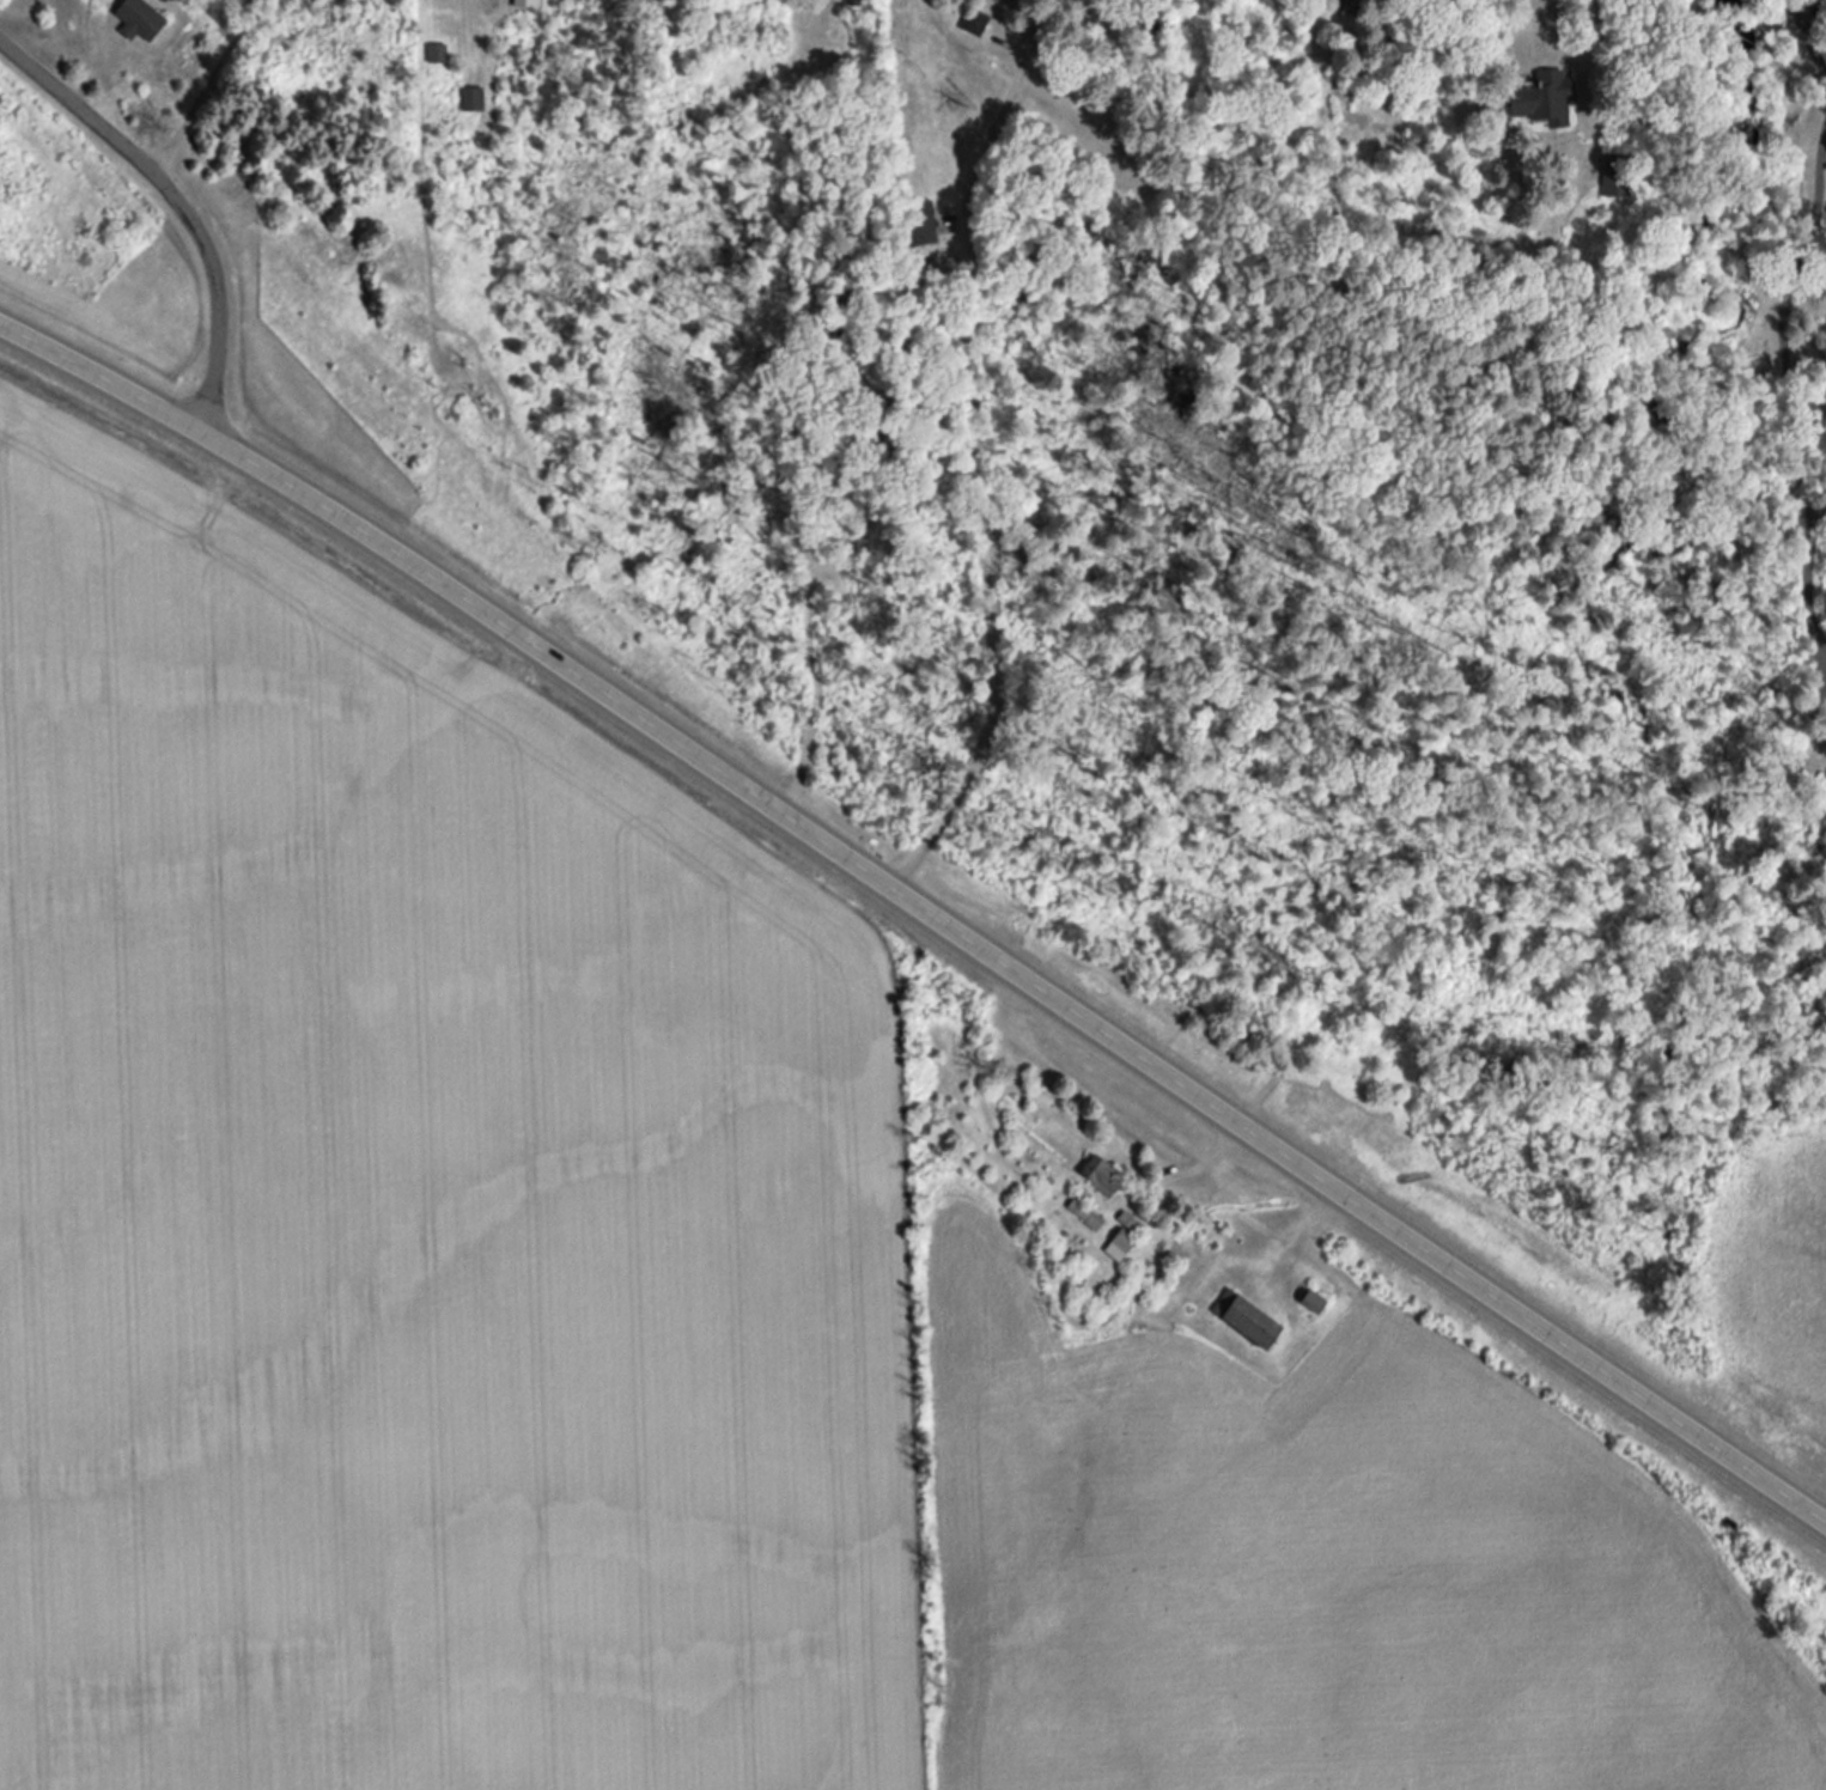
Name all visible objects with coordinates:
building: (525, 4)
building: (135, 19)
building: (972, 23)
building: (434, 48)
road: (208, 87)
building: (469, 98)
building: (1539, 98)
road: (177, 201)
building: (914, 220)
road: (1358, 312)
road: (1794, 315)
road: (101, 376)
road: (980, 578)
road: (1015, 974)
building: (1097, 1175)
crop: (419, 1207)
building: (1125, 1232)
building: (1311, 1302)
building: (1242, 1319)

